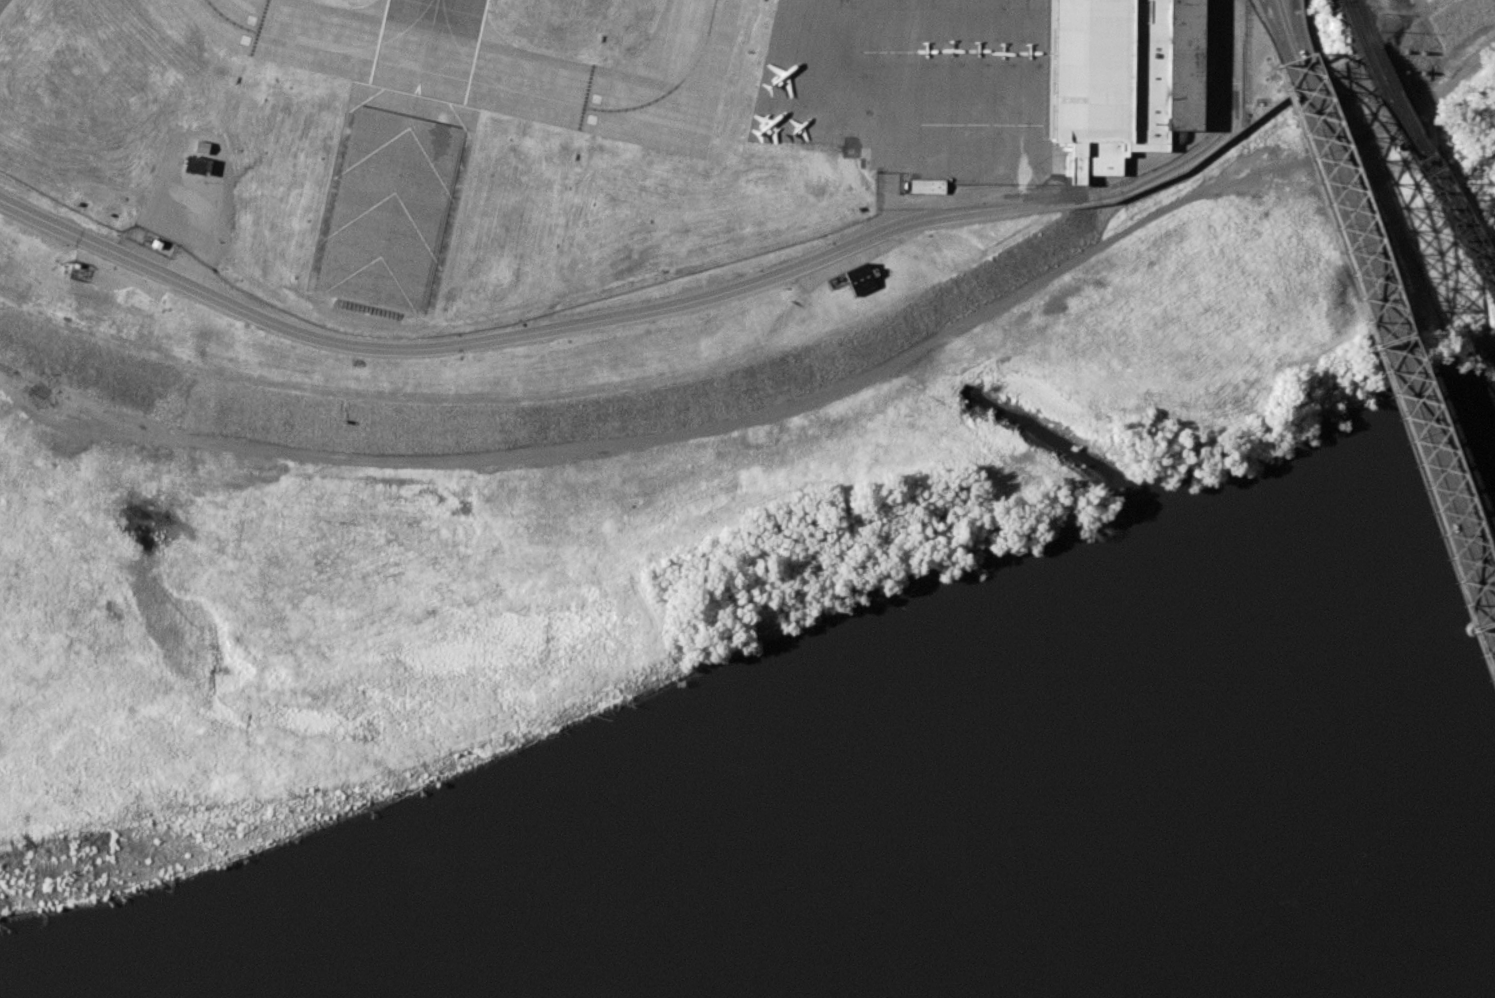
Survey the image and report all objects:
road: (1265, 3)
road: (1267, 3)
road: (1394, 5)
road: (1423, 8)
road: (1291, 12)
road: (1293, 12)
railway: (1364, 24)
railway: (1355, 26)
road: (1276, 34)
road: (1298, 40)
airport taxiway: (704, 44)
airport runway: (426, 47)
road: (1231, 52)
airport taxiway: (441, 73)
building: (1123, 78)
airport apron: (915, 85)
airport: (565, 131)
road: (1207, 138)
railway: (1434, 158)
building: (197, 165)
railway: (1430, 171)
building: (927, 186)
building: (860, 279)
road: (582, 321)
road: (1398, 342)
road: (1390, 373)
road: (658, 437)
river: (1145, 810)

